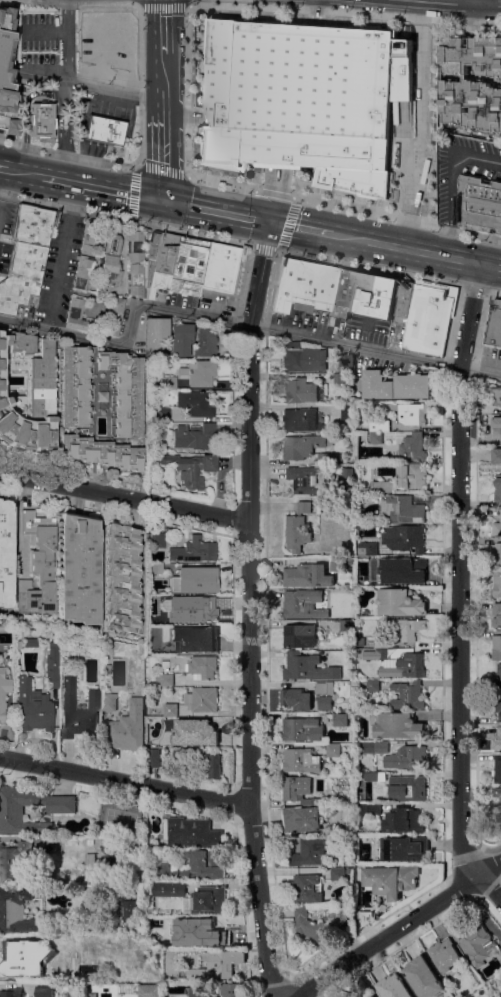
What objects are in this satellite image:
road: (44, 1)
road: (467, 1)
road: (479, 1)
road: (490, 2)
road: (163, 5)
road: (344, 14)
road: (163, 28)
road: (47, 30)
building: (114, 34)
road: (67, 49)
building: (6, 60)
road: (164, 84)
building: (470, 85)
road: (97, 86)
road: (40, 92)
building: (304, 100)
building: (43, 119)
road: (430, 124)
building: (10, 125)
road: (187, 125)
road: (418, 125)
building: (105, 130)
road: (64, 139)
road: (24, 140)
road: (164, 156)
road: (102, 161)
road: (135, 166)
road: (3, 168)
road: (23, 172)
road: (449, 180)
road: (102, 188)
traffic signals: (163, 201)
building: (480, 204)
road: (216, 212)
road: (124, 217)
road: (397, 217)
road: (287, 219)
traffic signals: (270, 223)
road: (300, 228)
parking lot: (5, 230)
building: (89, 237)
building: (135, 245)
road: (61, 246)
road: (403, 249)
building: (24, 256)
building: (175, 263)
building: (110, 265)
road: (367, 266)
road: (489, 266)
building: (220, 267)
parking lot: (58, 268)
building: (83, 271)
building: (136, 279)
road: (471, 286)
building: (313, 287)
road: (493, 292)
building: (373, 295)
building: (404, 302)
building: (78, 315)
building: (114, 315)
road: (48, 319)
building: (429, 319)
road: (233, 321)
building: (494, 325)
building: (157, 334)
building: (181, 338)
building: (205, 342)
building: (303, 357)
building: (346, 360)
building: (198, 372)
building: (339, 379)
building: (169, 382)
building: (75, 385)
building: (377, 385)
building: (412, 386)
building: (102, 391)
building: (300, 391)
building: (125, 392)
building: (29, 395)
building: (496, 395)
building: (195, 404)
building: (163, 414)
building: (414, 415)
building: (299, 419)
building: (379, 426)
building: (493, 426)
building: (192, 435)
building: (375, 438)
building: (304, 446)
building: (413, 447)
building: (102, 452)
building: (497, 455)
building: (327, 458)
building: (189, 467)
building: (349, 470)
building: (412, 476)
building: (304, 479)
building: (382, 487)
building: (498, 490)
road: (125, 498)
building: (404, 510)
building: (500, 513)
building: (297, 528)
building: (496, 529)
building: (405, 537)
building: (157, 539)
building: (367, 549)
building: (194, 550)
building: (6, 553)
building: (496, 555)
building: (39, 564)
building: (337, 565)
building: (157, 568)
building: (80, 569)
building: (399, 571)
building: (307, 576)
building: (122, 577)
building: (197, 580)
building: (497, 583)
road: (459, 588)
building: (399, 603)
building: (303, 604)
building: (202, 610)
road: (249, 610)
building: (500, 617)
building: (2, 626)
building: (346, 626)
building: (402, 627)
building: (69, 635)
building: (300, 636)
building: (194, 638)
building: (360, 641)
building: (30, 642)
building: (497, 647)
building: (373, 654)
building: (404, 663)
building: (52, 665)
building: (170, 666)
building: (202, 667)
building: (308, 668)
building: (106, 669)
building: (498, 678)
building: (164, 679)
building: (372, 685)
building: (324, 688)
building: (3, 693)
building: (408, 696)
building: (296, 699)
building: (202, 700)
building: (109, 702)
building: (324, 703)
building: (497, 703)
building: (33, 705)
building: (78, 710)
building: (170, 710)
building: (340, 720)
building: (397, 726)
building: (302, 729)
building: (128, 730)
building: (195, 733)
building: (498, 739)
building: (375, 747)
building: (333, 750)
building: (153, 758)
building: (406, 758)
building: (301, 761)
building: (213, 767)
building: (497, 769)
building: (374, 776)
road: (124, 781)
building: (408, 786)
building: (298, 790)
building: (496, 792)
building: (500, 806)
building: (61, 809)
building: (369, 809)
building: (302, 819)
building: (404, 820)
building: (114, 831)
building: (192, 833)
building: (88, 842)
building: (54, 843)
building: (403, 848)
building: (312, 851)
building: (14, 860)
building: (89, 865)
building: (197, 866)
building: (338, 874)
building: (391, 880)
building: (306, 888)
building: (166, 889)
building: (208, 900)
building: (128, 910)
building: (18, 913)
building: (364, 918)
building: (188, 921)
road: (399, 922)
building: (318, 925)
building: (210, 936)
building: (476, 943)
building: (445, 955)
building: (14, 962)
building: (214, 967)
building: (424, 977)
building: (394, 987)
building: (150, 990)
building: (235, 990)
building: (43, 991)
building: (11, 992)
building: (199, 992)
building: (91, 995)
building: (500, 995)
building: (373, 996)

